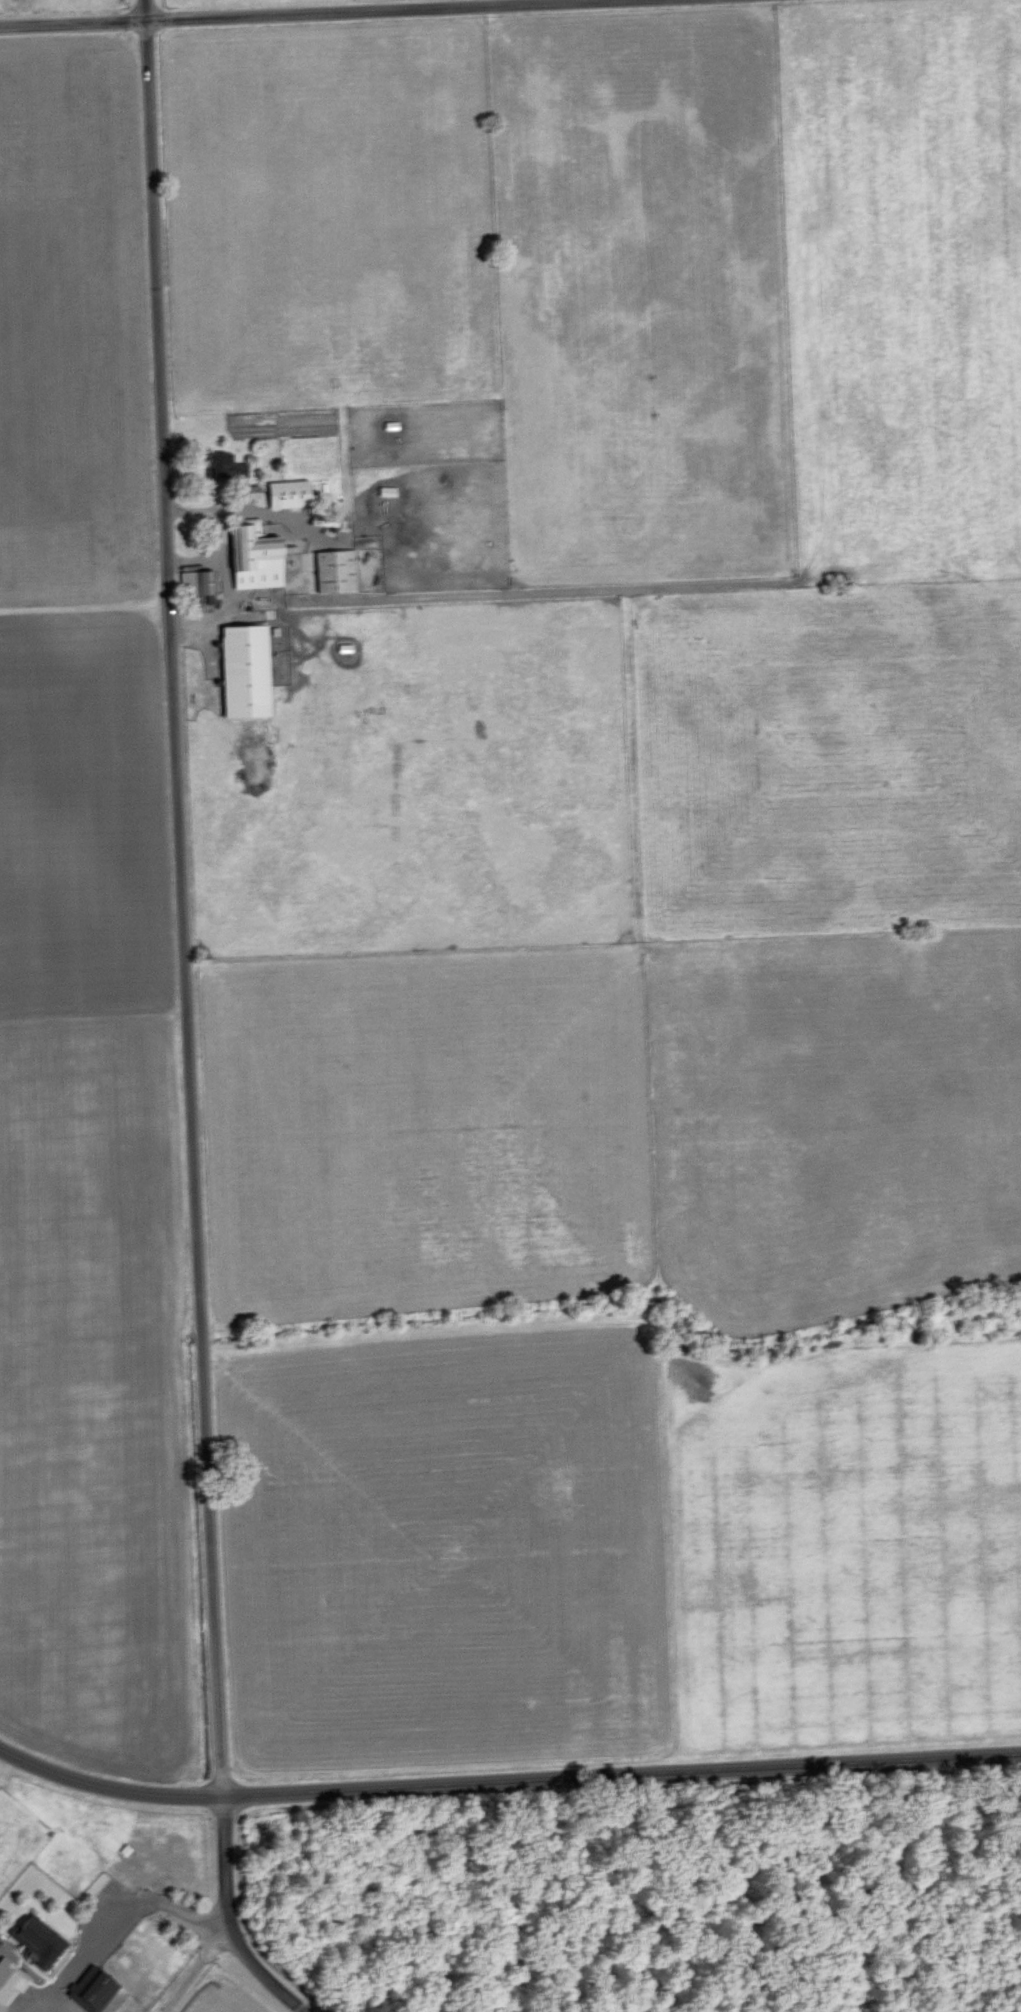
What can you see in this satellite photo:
road: (301, 14)
building: (215, 462)
building: (252, 490)
building: (288, 492)
building: (254, 555)
building: (335, 569)
building: (198, 579)
building: (244, 669)
road: (185, 951)
road: (3, 1753)
road: (511, 1783)
road: (128, 1906)
building: (38, 1941)
road: (254, 1965)
road: (195, 1971)
building: (10, 1983)
building: (96, 1990)

